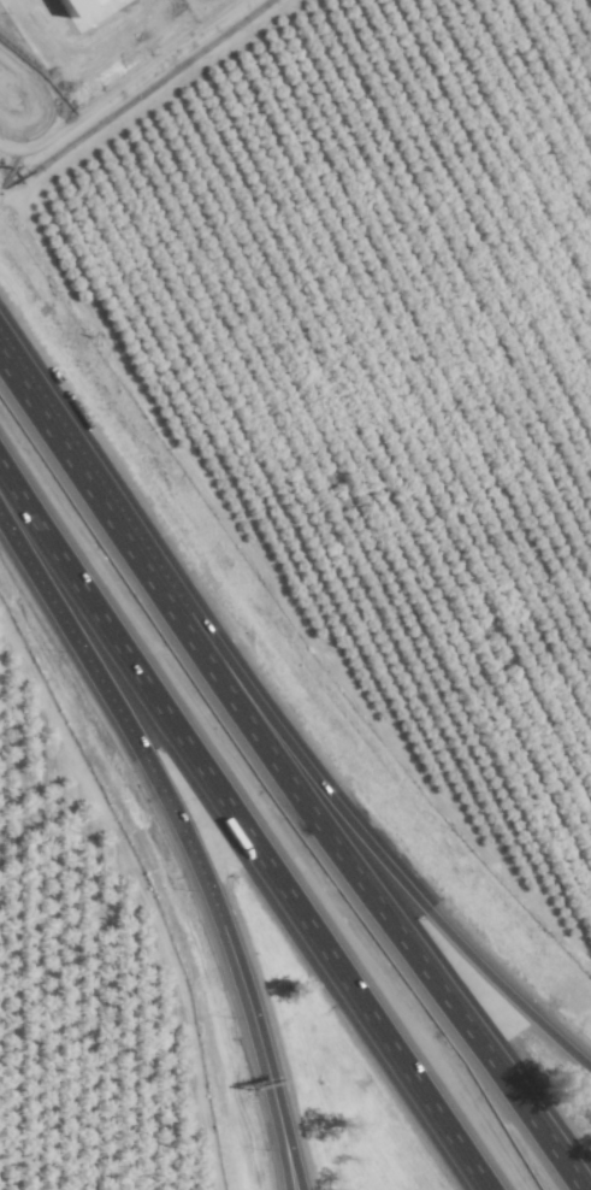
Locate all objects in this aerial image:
road: (118, 83)
road: (104, 511)
road: (154, 776)
road: (237, 835)
road: (392, 874)
road: (396, 927)
road: (274, 1125)
road: (280, 1125)

